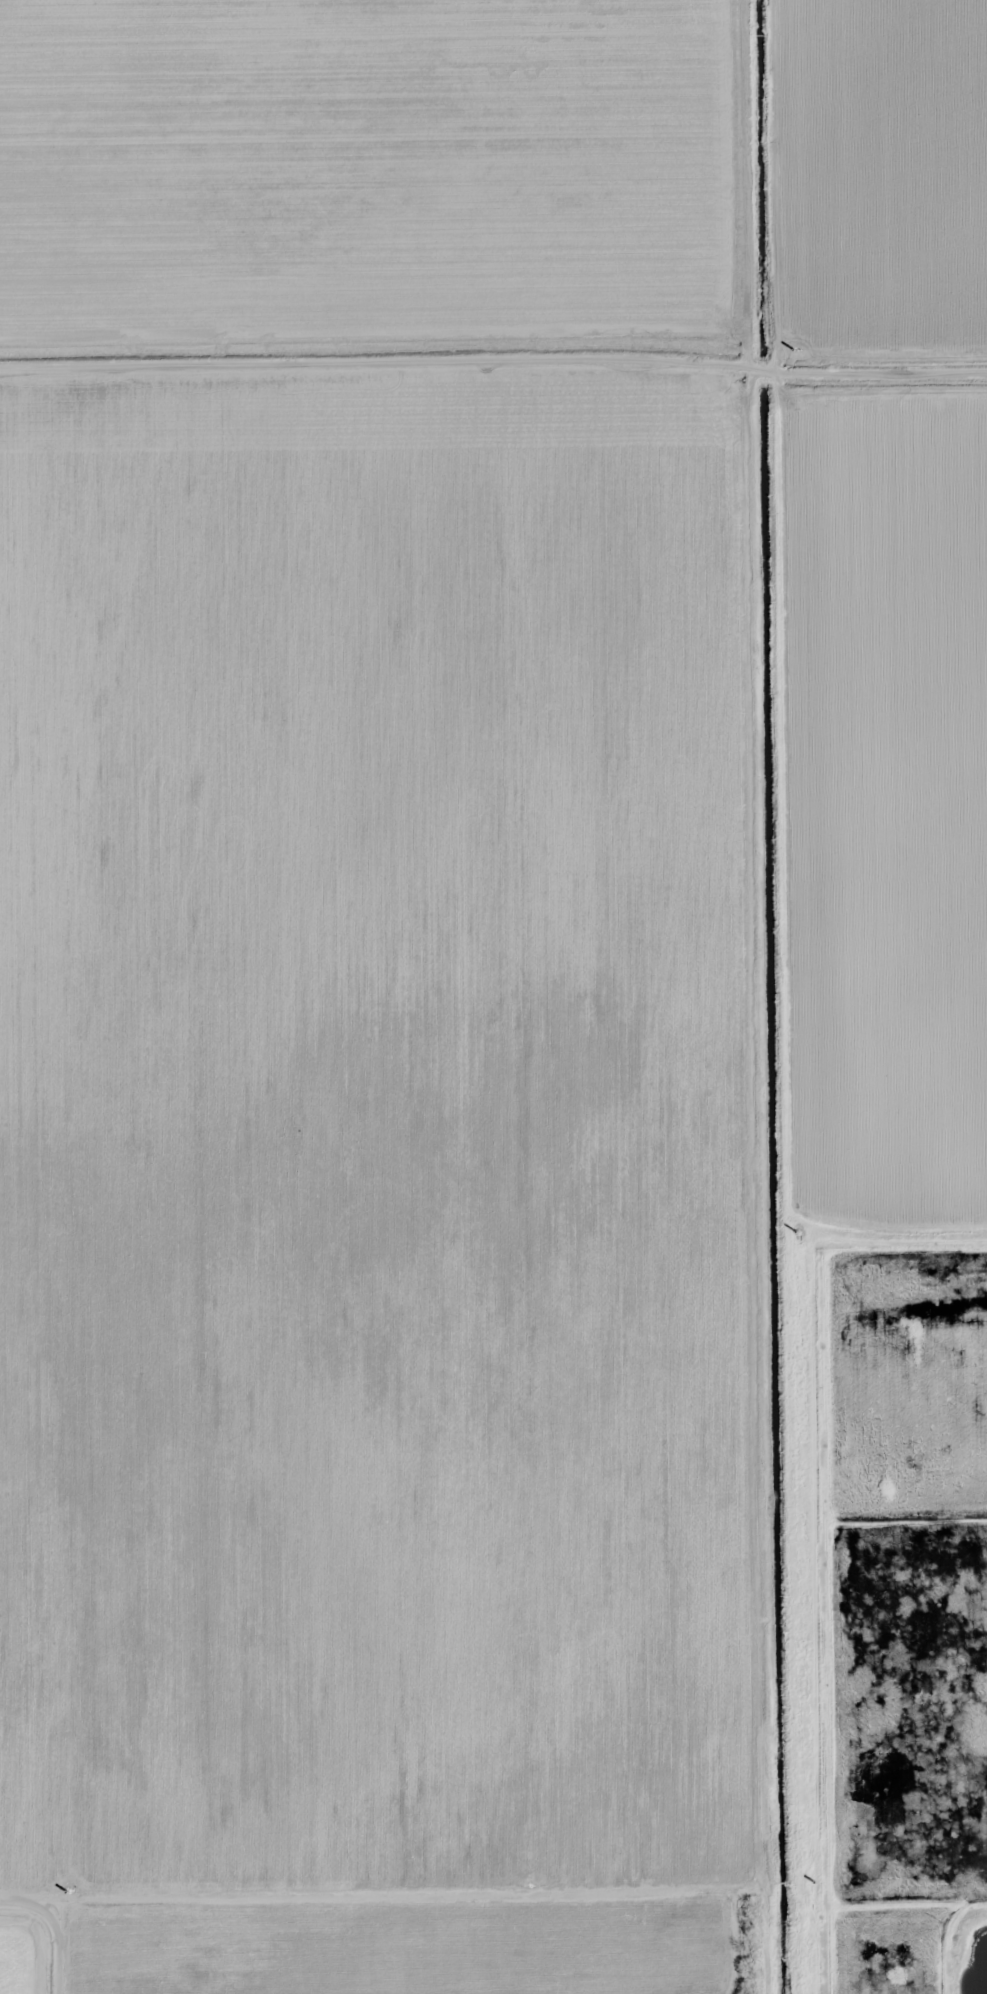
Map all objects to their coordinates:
road: (493, 373)
road: (21, 1906)
road: (57, 1951)

